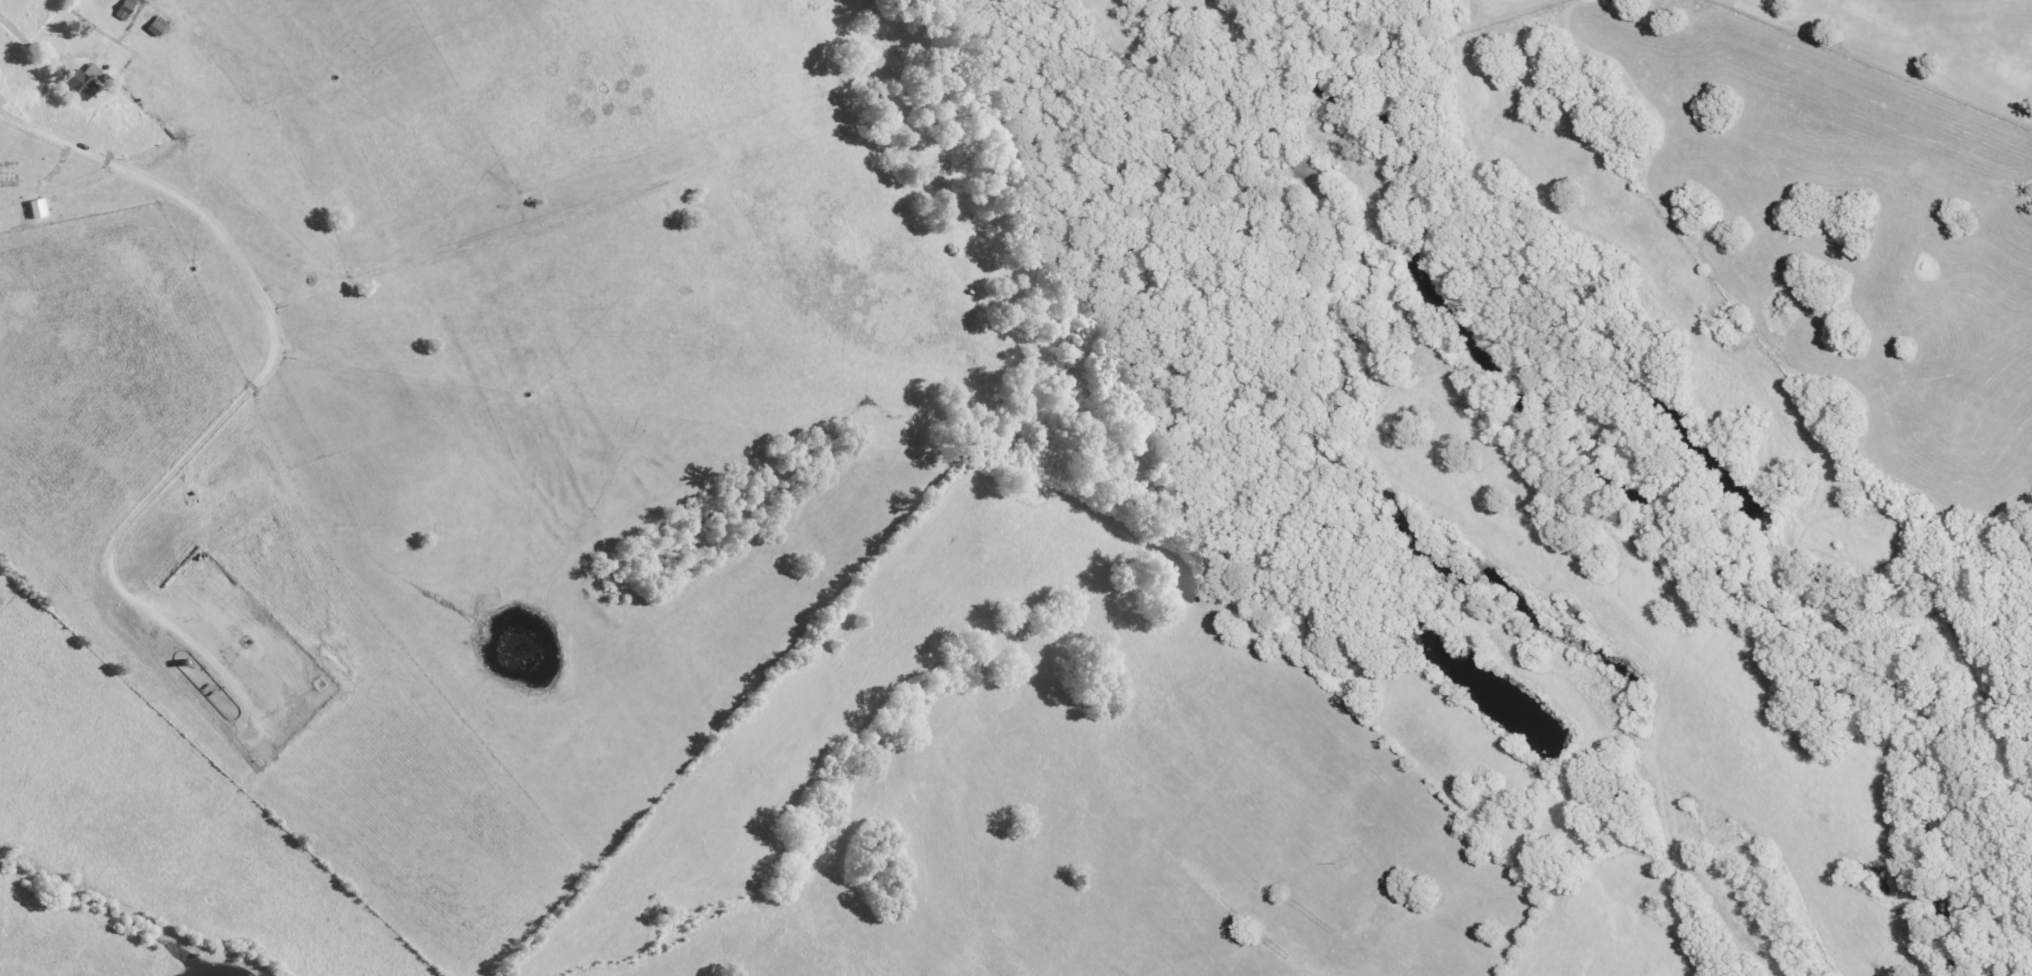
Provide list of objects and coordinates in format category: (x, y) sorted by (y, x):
building: (124, 14)
building: (158, 27)
building: (85, 83)
building: (39, 209)

